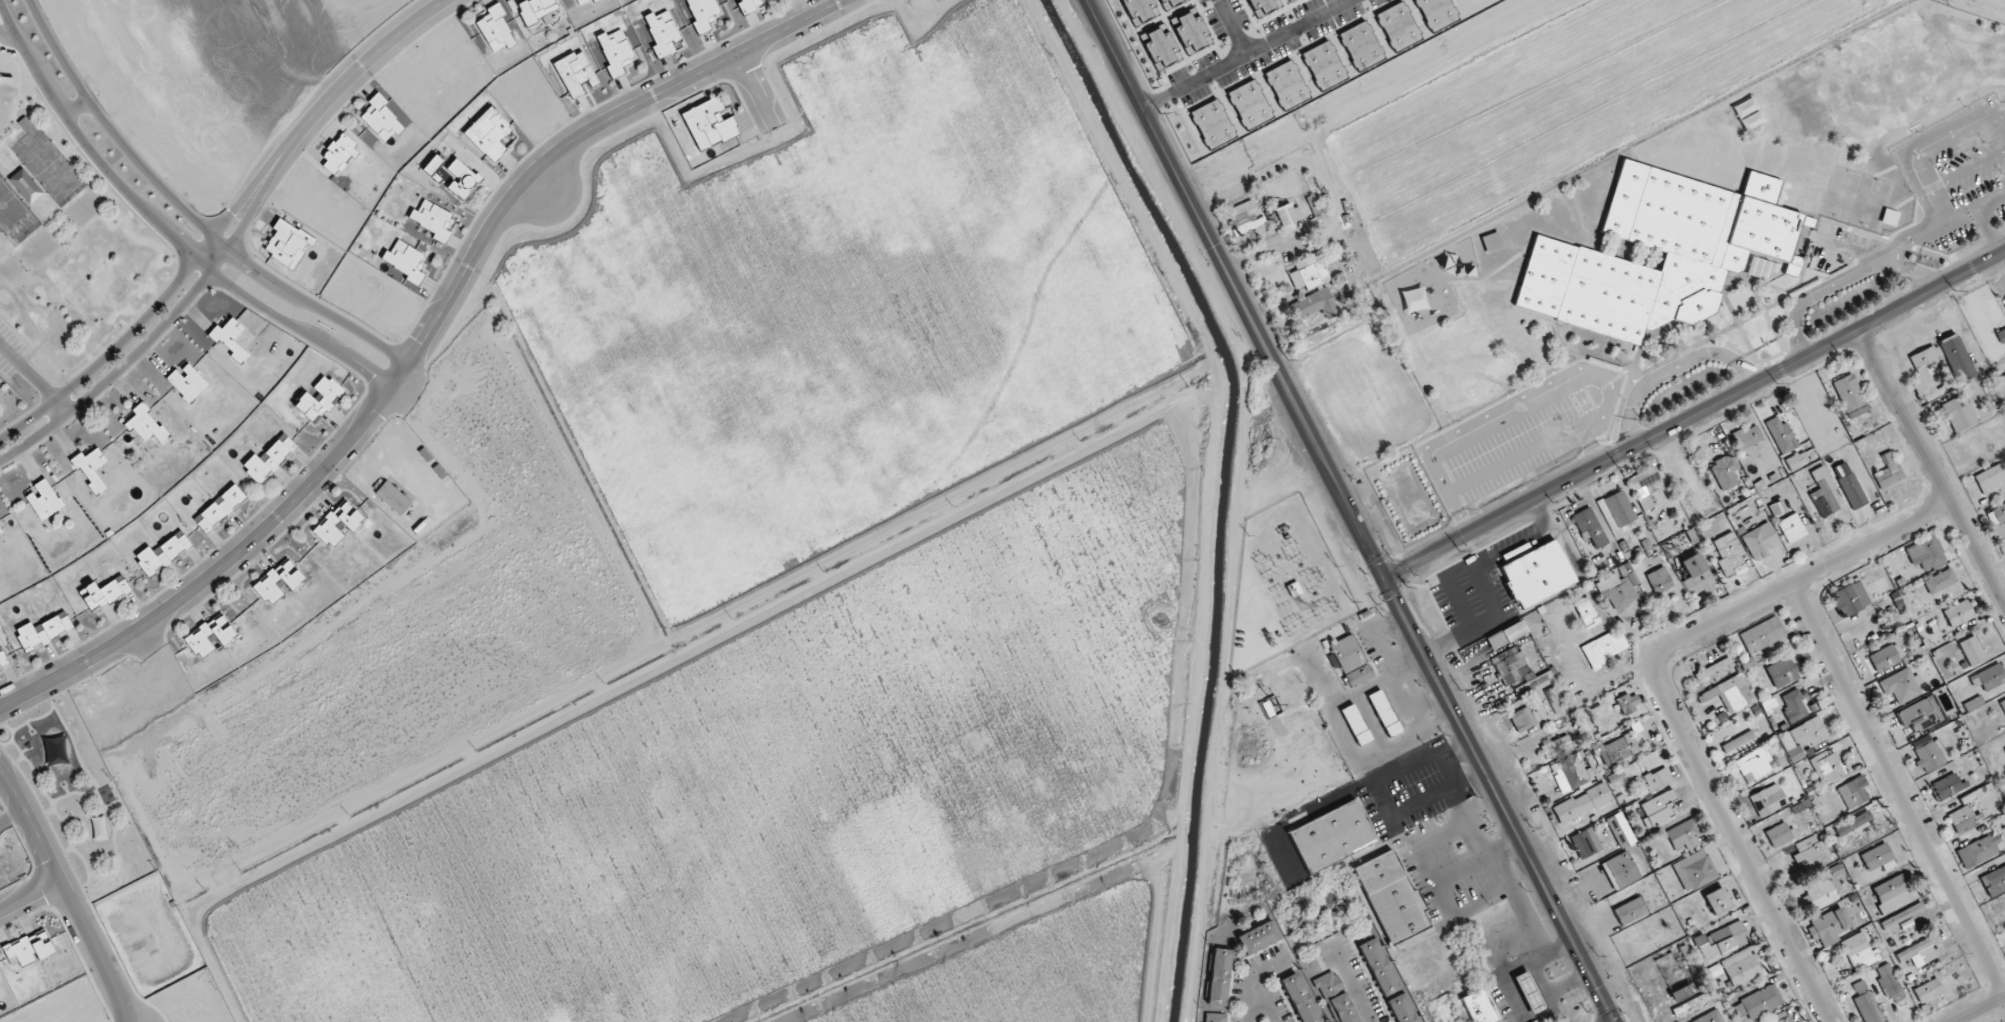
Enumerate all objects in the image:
building: (595, 0)
building: (1290, 0)
building: (582, 1)
building: (1170, 3)
building: (751, 5)
building: (1264, 6)
building: (536, 9)
building: (1140, 10)
building: (702, 12)
building: (1437, 13)
building: (1398, 26)
road: (1231, 27)
building: (495, 29)
building: (1191, 32)
building: (662, 33)
building: (1361, 45)
building: (1161, 48)
building: (615, 51)
road: (1246, 54)
building: (1324, 65)
building: (575, 73)
building: (0, 77)
building: (1287, 84)
road: (339, 85)
road: (749, 92)
road: (73, 104)
building: (1250, 104)
building: (380, 119)
building: (709, 124)
building: (1213, 124)
building: (489, 133)
building: (339, 155)
building: (433, 166)
building: (462, 179)
building: (26, 186)
road: (188, 213)
building: (1289, 214)
building: (433, 220)
building: (1246, 220)
road: (163, 229)
building: (288, 243)
building: (1727, 251)
building: (405, 261)
building: (1309, 275)
building: (1315, 305)
road: (139, 323)
building: (2001, 336)
building: (231, 339)
road: (147, 342)
road: (418, 348)
building: (1957, 357)
road: (1674, 369)
building: (1930, 374)
building: (2004, 375)
road: (33, 381)
building: (187, 382)
building: (1849, 394)
building: (320, 399)
building: (1959, 412)
road: (1694, 416)
building: (145, 425)
building: (1782, 435)
building: (1749, 437)
building: (270, 459)
building: (1797, 460)
road: (1933, 466)
building: (91, 468)
building: (1725, 472)
building: (1889, 472)
building: (1991, 479)
building: (1645, 487)
building: (1852, 491)
building: (1824, 496)
building: (393, 497)
building: (44, 500)
building: (220, 509)
building: (1620, 509)
road: (1350, 511)
building: (1997, 515)
building: (338, 523)
building: (1590, 527)
building: (1792, 528)
building: (1761, 541)
building: (1729, 553)
building: (163, 554)
building: (1926, 554)
building: (1537, 574)
building: (1697, 575)
traffic signals: (1385, 579)
road: (1802, 579)
building: (1660, 580)
building: (269, 581)
building: (1940, 581)
building: (1619, 588)
building: (105, 593)
building: (1851, 599)
building: (1586, 610)
building: (1959, 613)
building: (44, 632)
building: (210, 635)
building: (1507, 635)
building: (1762, 635)
building: (1604, 648)
building: (1972, 651)
building: (1887, 657)
building: (1351, 661)
building: (1512, 665)
building: (1782, 673)
building: (1992, 678)
building: (1534, 685)
building: (1902, 686)
road: (1402, 687)
building: (1732, 693)
building: (1555, 701)
building: (1629, 703)
building: (1973, 704)
building: (2003, 705)
building: (1769, 706)
building: (1794, 706)
building: (1384, 713)
building: (1920, 714)
building: (1522, 720)
building: (1802, 738)
building: (1738, 741)
building: (1556, 747)
building: (1618, 749)
building: (1931, 755)
building: (1754, 764)
building: (1827, 767)
building: (1615, 777)
building: (1658, 778)
building: (1947, 785)
road: (1900, 789)
building: (1854, 792)
building: (109, 797)
building: (1768, 800)
building: (1582, 803)
building: (1658, 809)
building: (1963, 819)
building: (1854, 824)
road: (32, 826)
building: (99, 828)
building: (1620, 830)
building: (1779, 834)
building: (1684, 835)
building: (1332, 837)
building: (1586, 842)
road: (1738, 842)
building: (1809, 849)
building: (1983, 849)
road: (1481, 855)
building: (1878, 858)
building: (1623, 869)
building: (1695, 871)
road: (1498, 878)
building: (1995, 882)
building: (1822, 889)
building: (1892, 894)
road: (27, 897)
building: (1392, 897)
building: (1718, 901)
building: (1630, 911)
building: (1902, 915)
building: (1829, 926)
building: (1259, 937)
building: (1722, 941)
building: (42, 945)
road: (1558, 949)
building: (1917, 951)
building: (20, 952)
building: (1862, 952)
road: (91, 954)
building: (1378, 967)
building: (1741, 967)
building: (1714, 970)
building: (1219, 977)
building: (1890, 983)
road: (1357, 988)
building: (1928, 991)
building: (1529, 992)
building: (1682, 992)
building: (1337, 997)
building: (1299, 998)
road: (1260, 999)
building: (1759, 1002)
building: (1691, 1003)
building: (1866, 1003)
building: (1481, 1006)
building: (1401, 1009)
road: (1983, 1011)
building: (1215, 1017)
building: (1710, 1017)
building: (1783, 1017)

